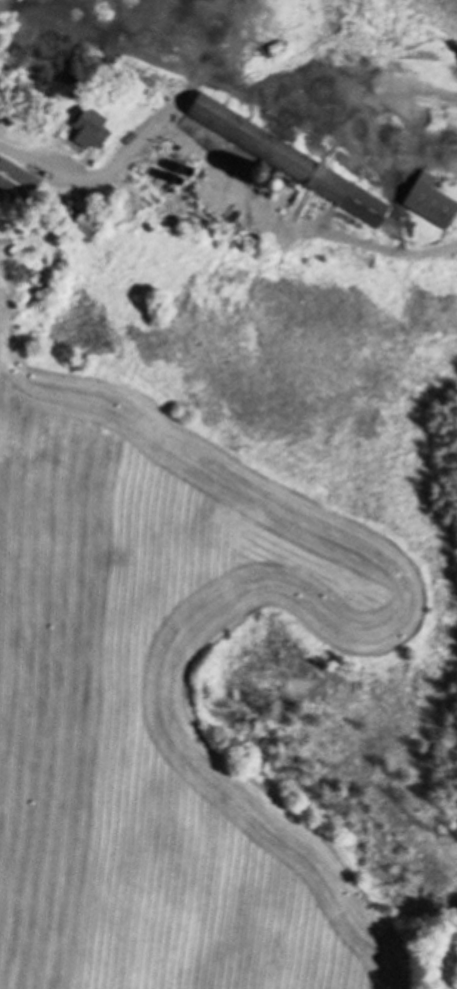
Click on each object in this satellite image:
building: (87, 120)
building: (285, 162)
building: (15, 182)
building: (429, 199)
building: (84, 223)
building: (193, 225)

